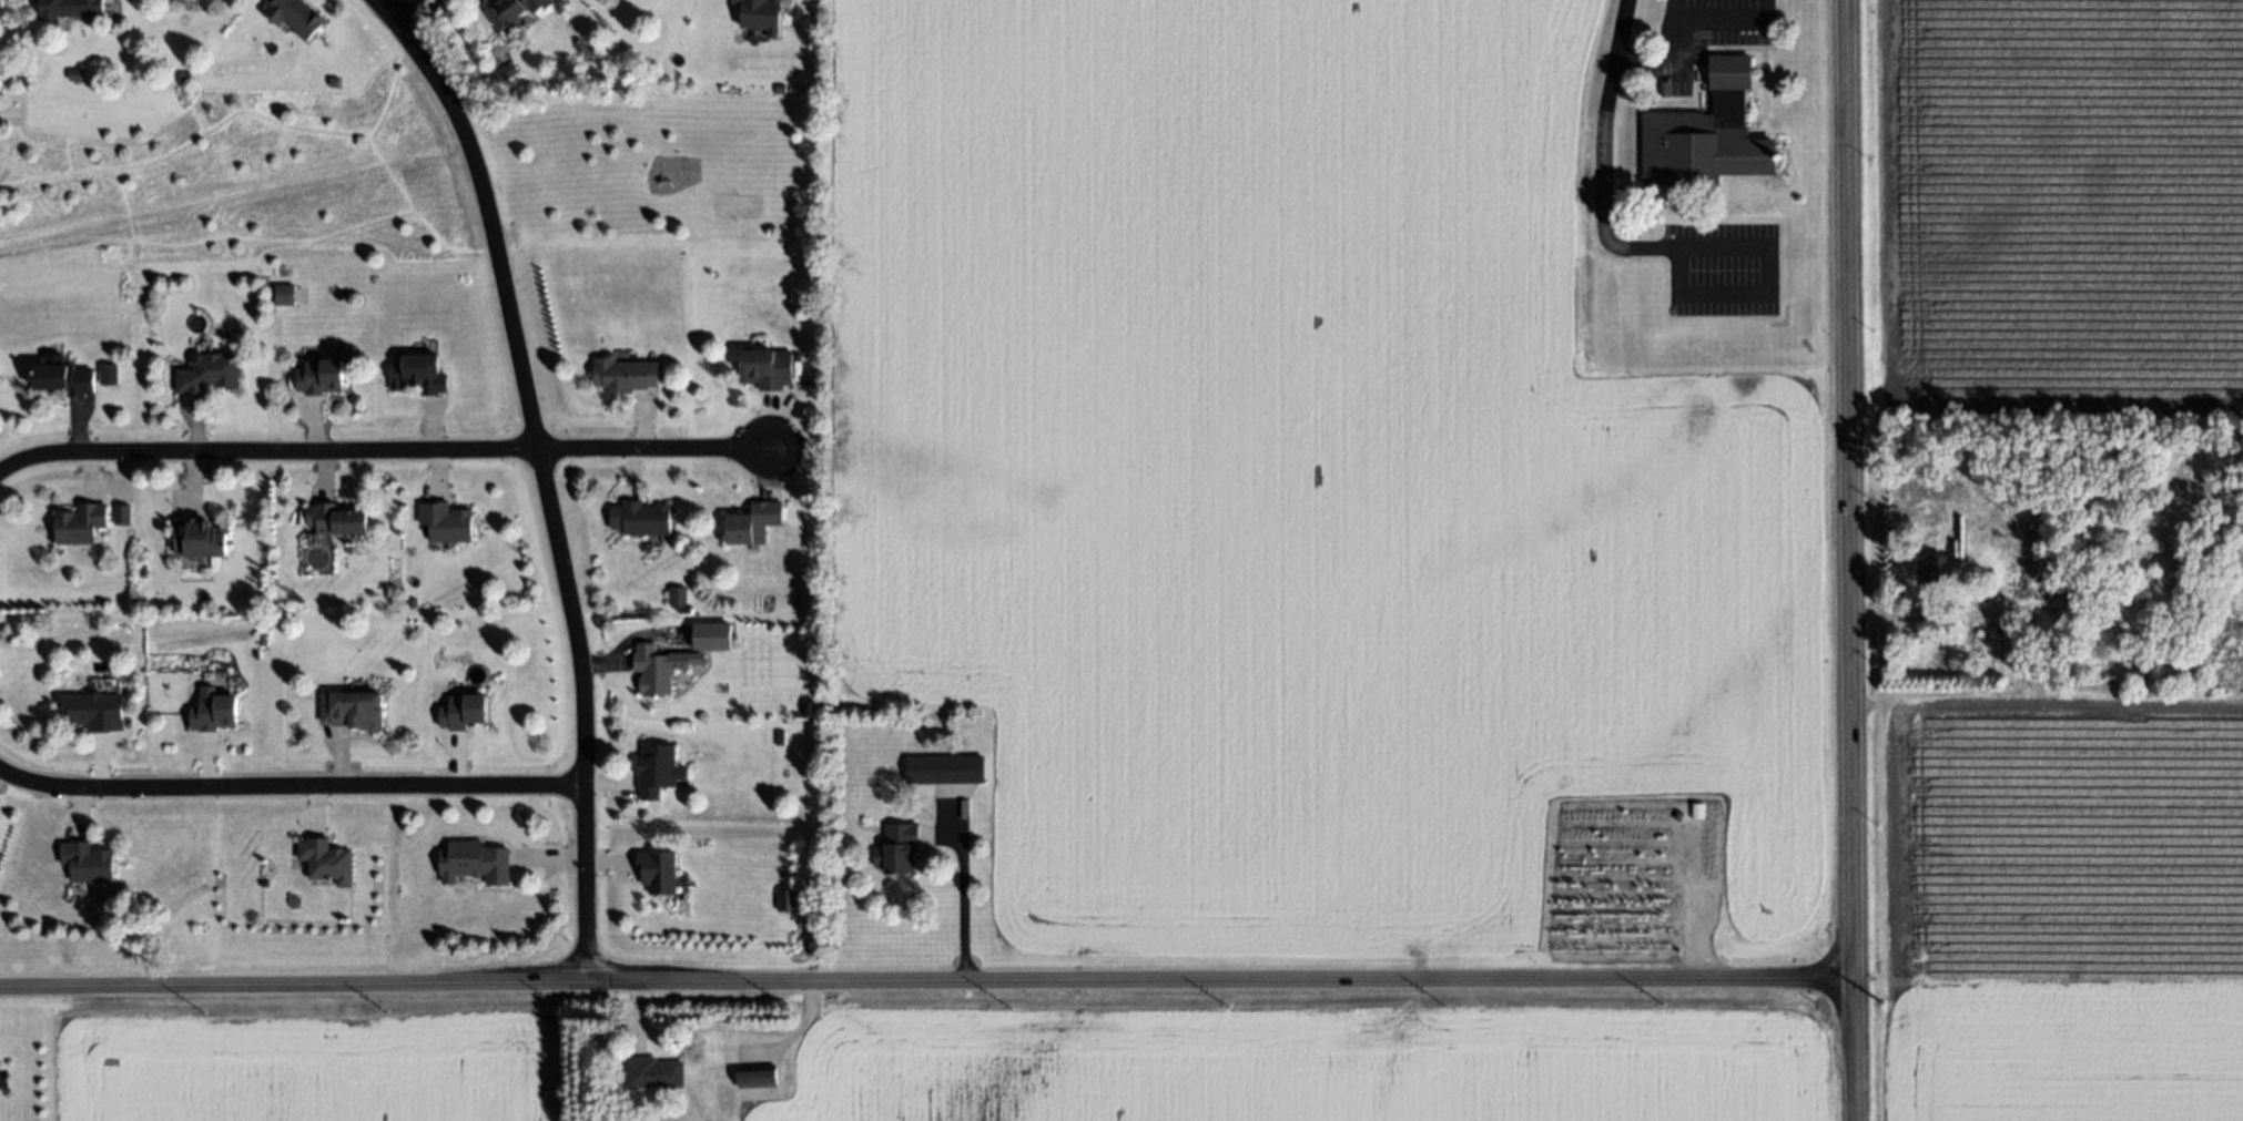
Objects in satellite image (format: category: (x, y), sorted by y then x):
building: (0, 3)
building: (70, 8)
road: (383, 9)
road: (403, 9)
building: (515, 10)
road: (1673, 11)
building: (294, 16)
building: (761, 16)
road: (1679, 22)
building: (509, 71)
building: (77, 74)
building: (184, 75)
building: (780, 89)
road: (1605, 115)
building: (1708, 134)
park: (407, 180)
crop: (2059, 208)
road: (1768, 253)
building: (284, 295)
building: (767, 368)
building: (210, 374)
building: (419, 374)
building: (623, 374)
building: (110, 375)
building: (321, 377)
building: (64, 378)
road: (377, 451)
crop: (1285, 472)
road: (550, 486)
building: (122, 514)
building: (645, 516)
building: (338, 518)
building: (447, 522)
building: (753, 522)
building: (81, 523)
building: (201, 538)
road: (1851, 560)
building: (1940, 570)
building: (2093, 590)
building: (678, 598)
building: (711, 636)
building: (263, 639)
building: (257, 654)
building: (660, 667)
building: (353, 710)
building: (94, 711)
building: (213, 711)
building: (463, 711)
building: (780, 737)
building: (945, 770)
building: (658, 771)
road: (292, 788)
building: (897, 848)
building: (326, 860)
building: (88, 862)
building: (473, 862)
building: (658, 870)
road: (964, 897)
building: (785, 901)
crop: (2060, 908)
road: (926, 982)
building: (651, 1072)
building: (759, 1073)

